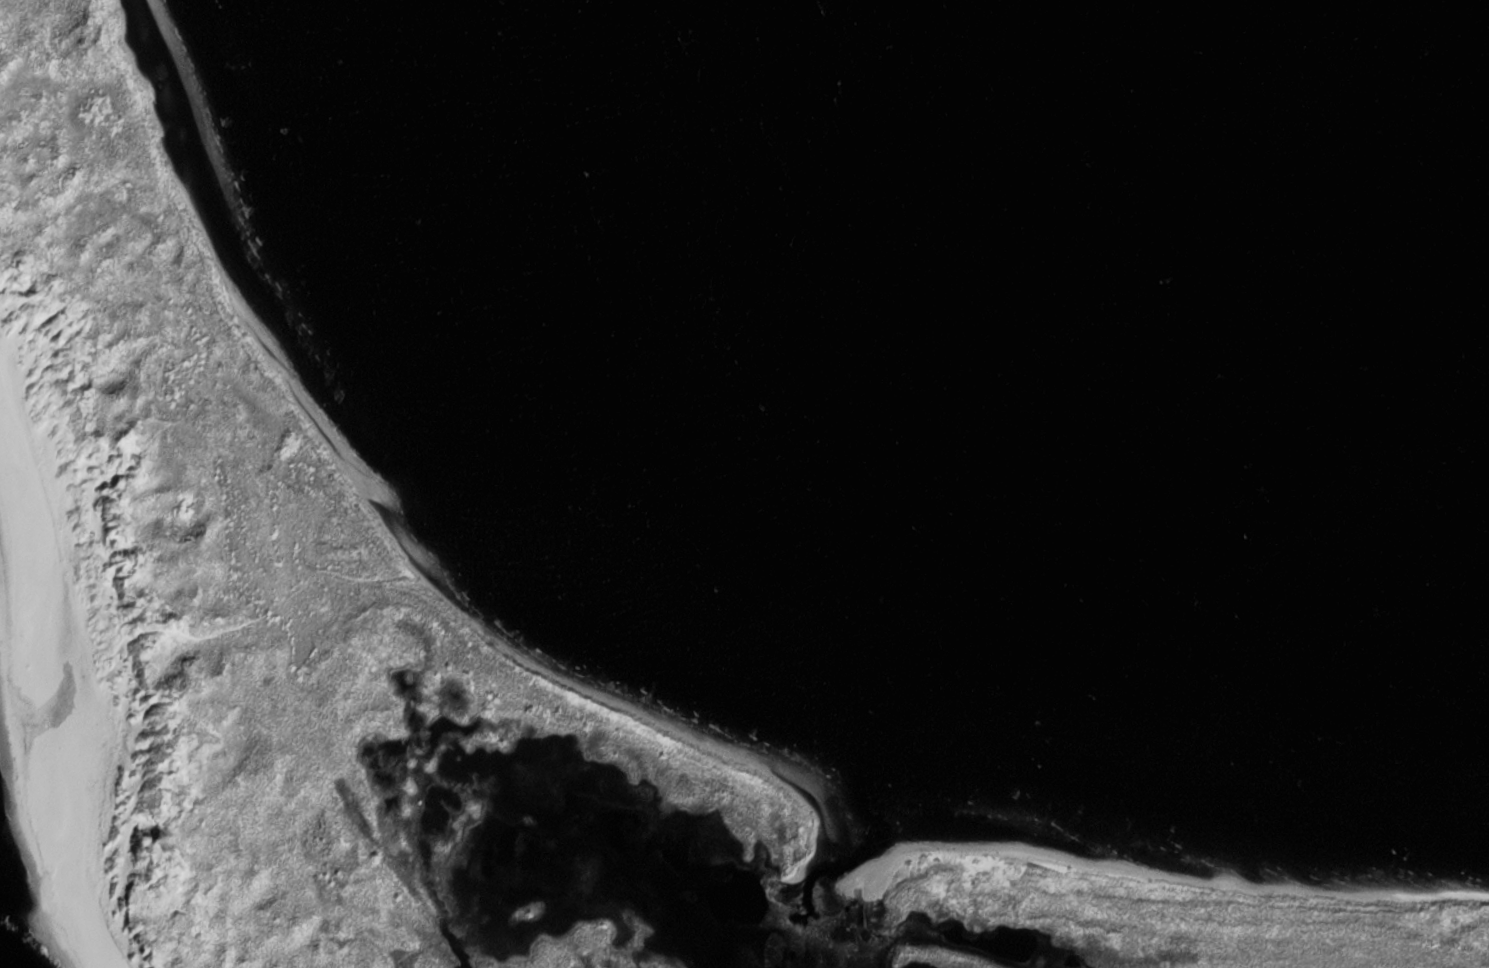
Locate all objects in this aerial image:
road: (272, 610)

